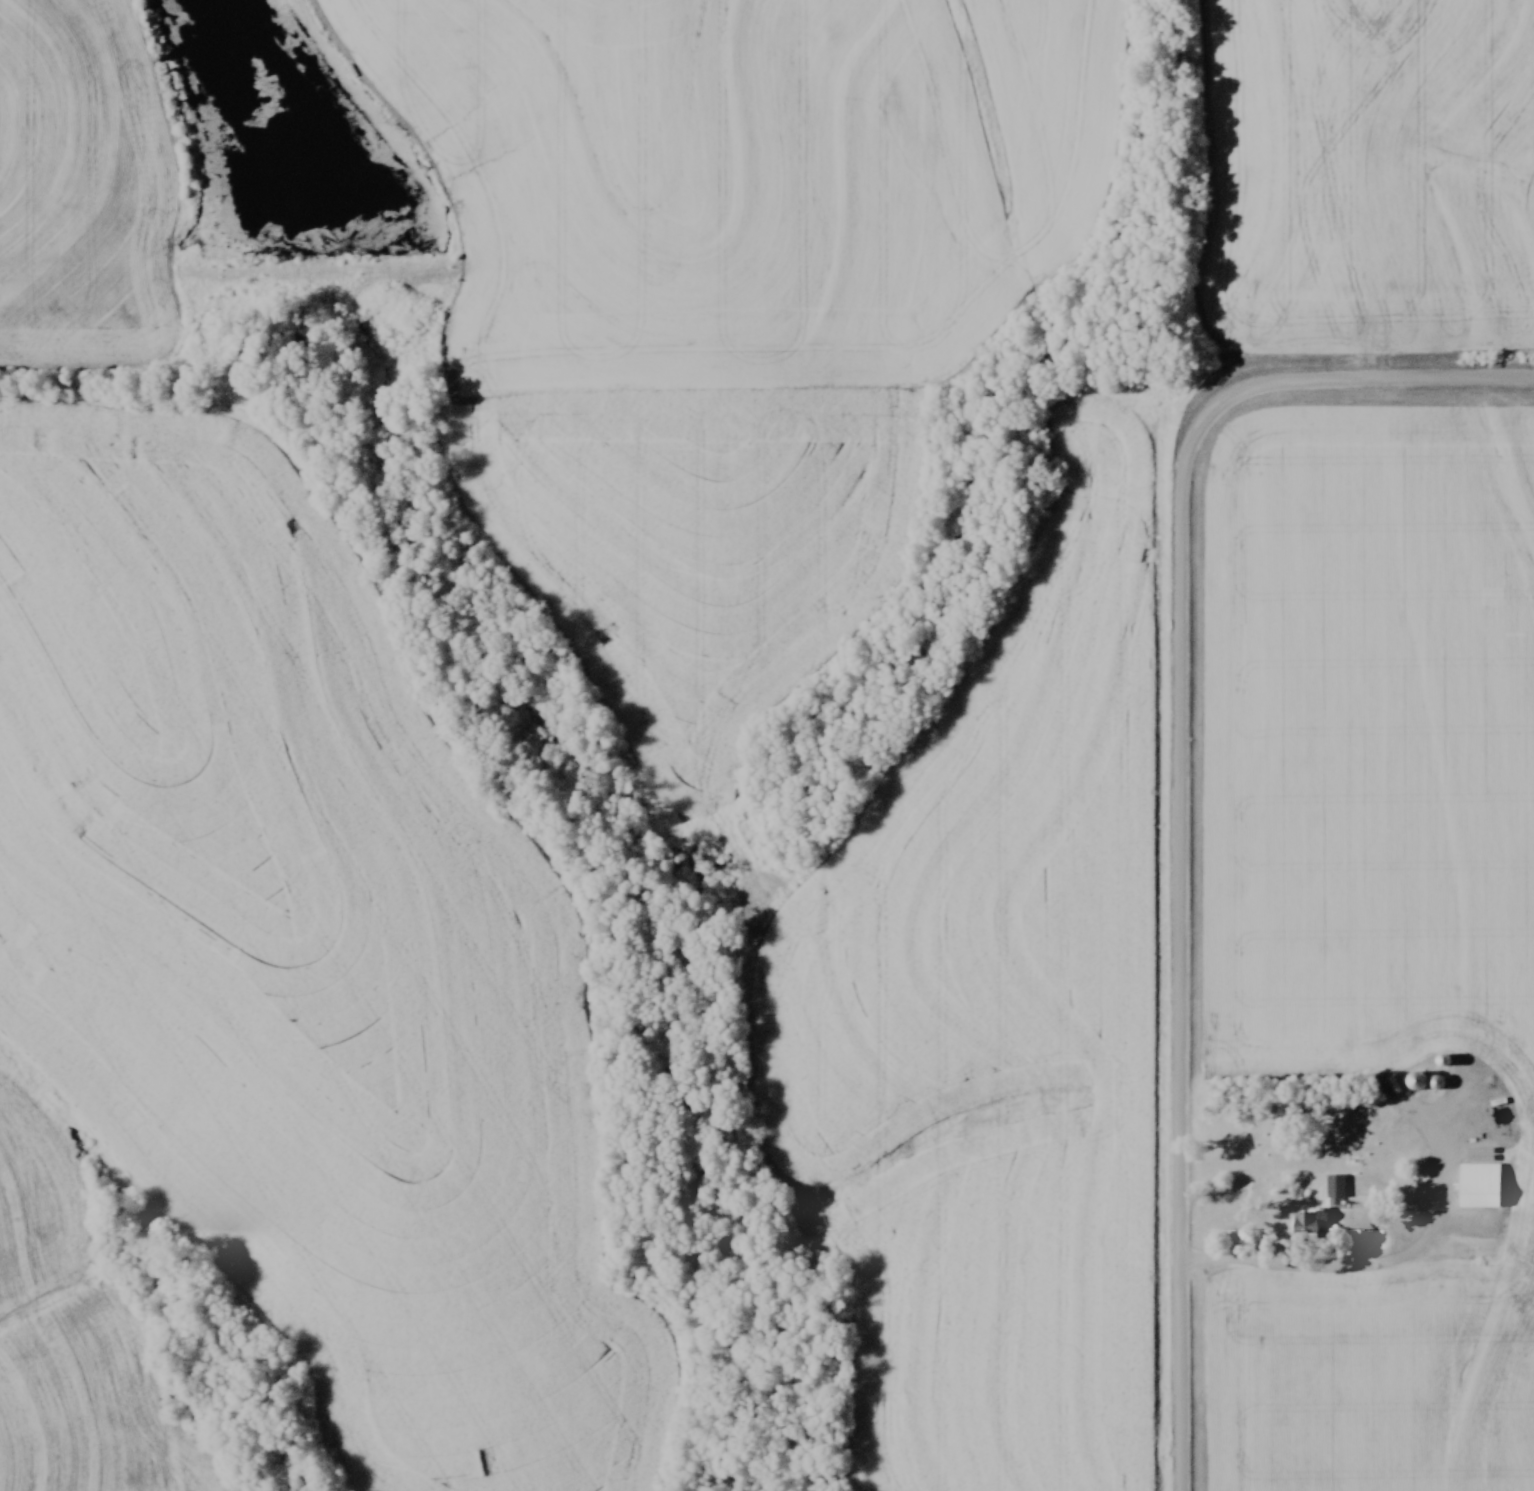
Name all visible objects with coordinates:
road: (1182, 671)
building: (1415, 1080)
building: (1434, 1080)
building: (1479, 1112)
building: (1334, 1184)
building: (1477, 1184)
building: (1303, 1222)
road: (1369, 1267)
road: (1182, 1376)

